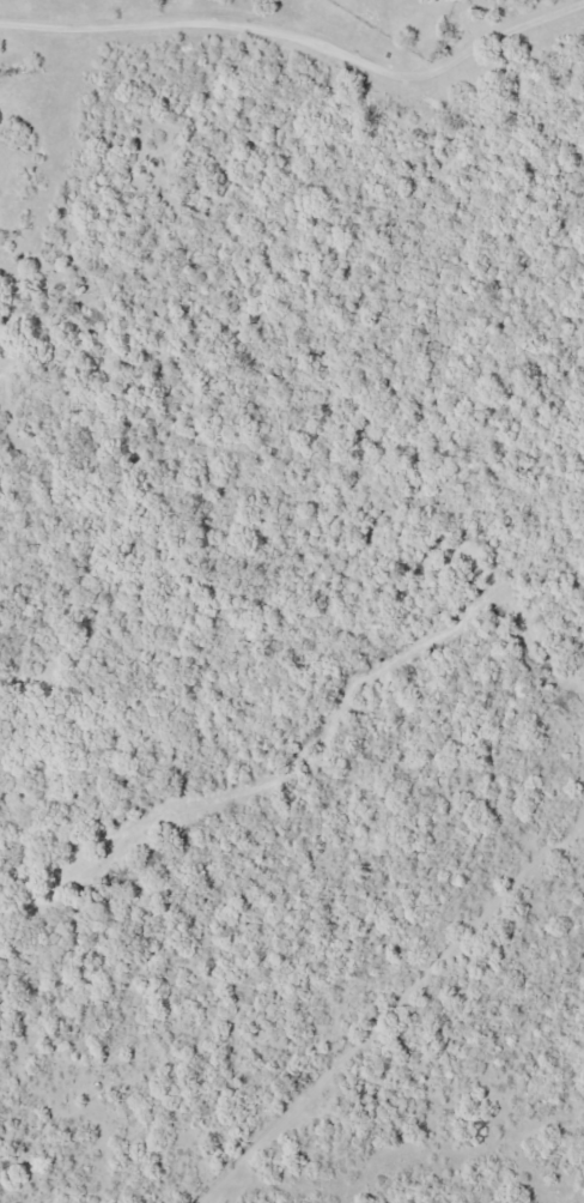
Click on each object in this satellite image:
road: (302, 38)

